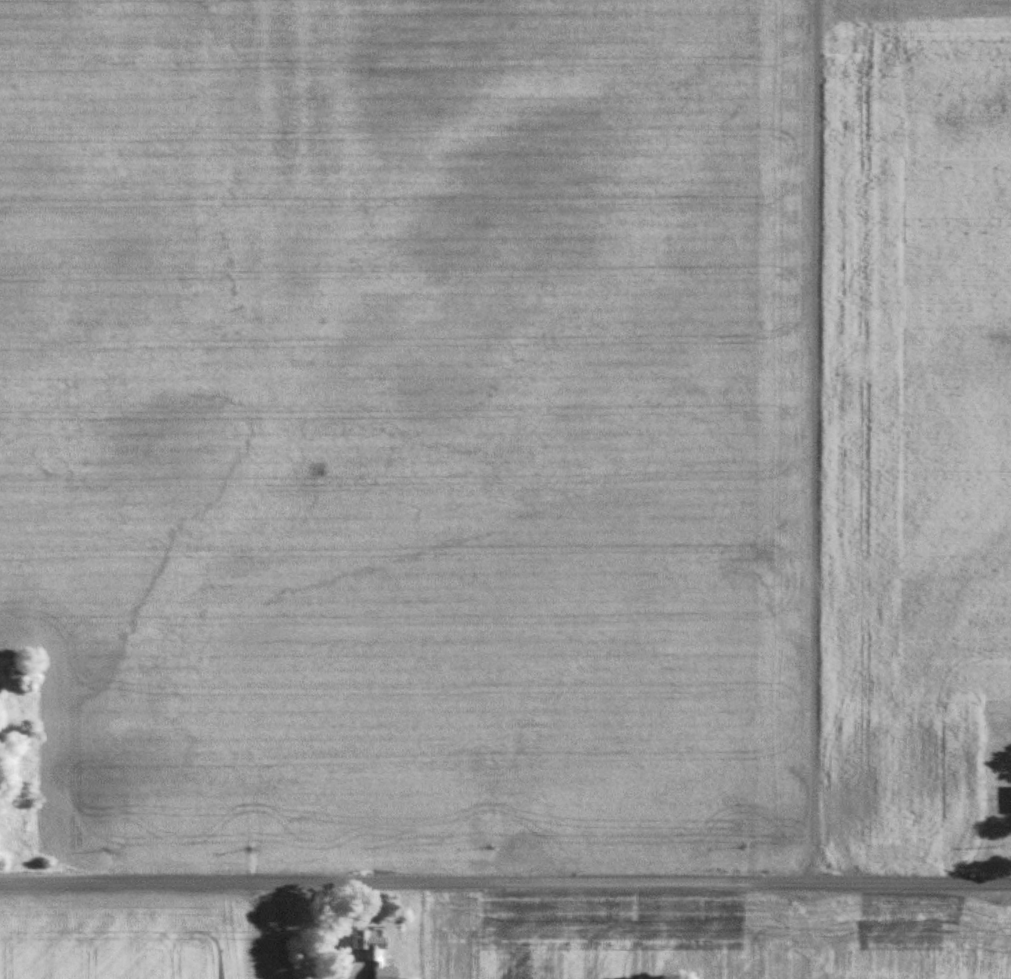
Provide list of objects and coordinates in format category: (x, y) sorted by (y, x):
road: (799, 441)
road: (505, 882)
building: (372, 953)

